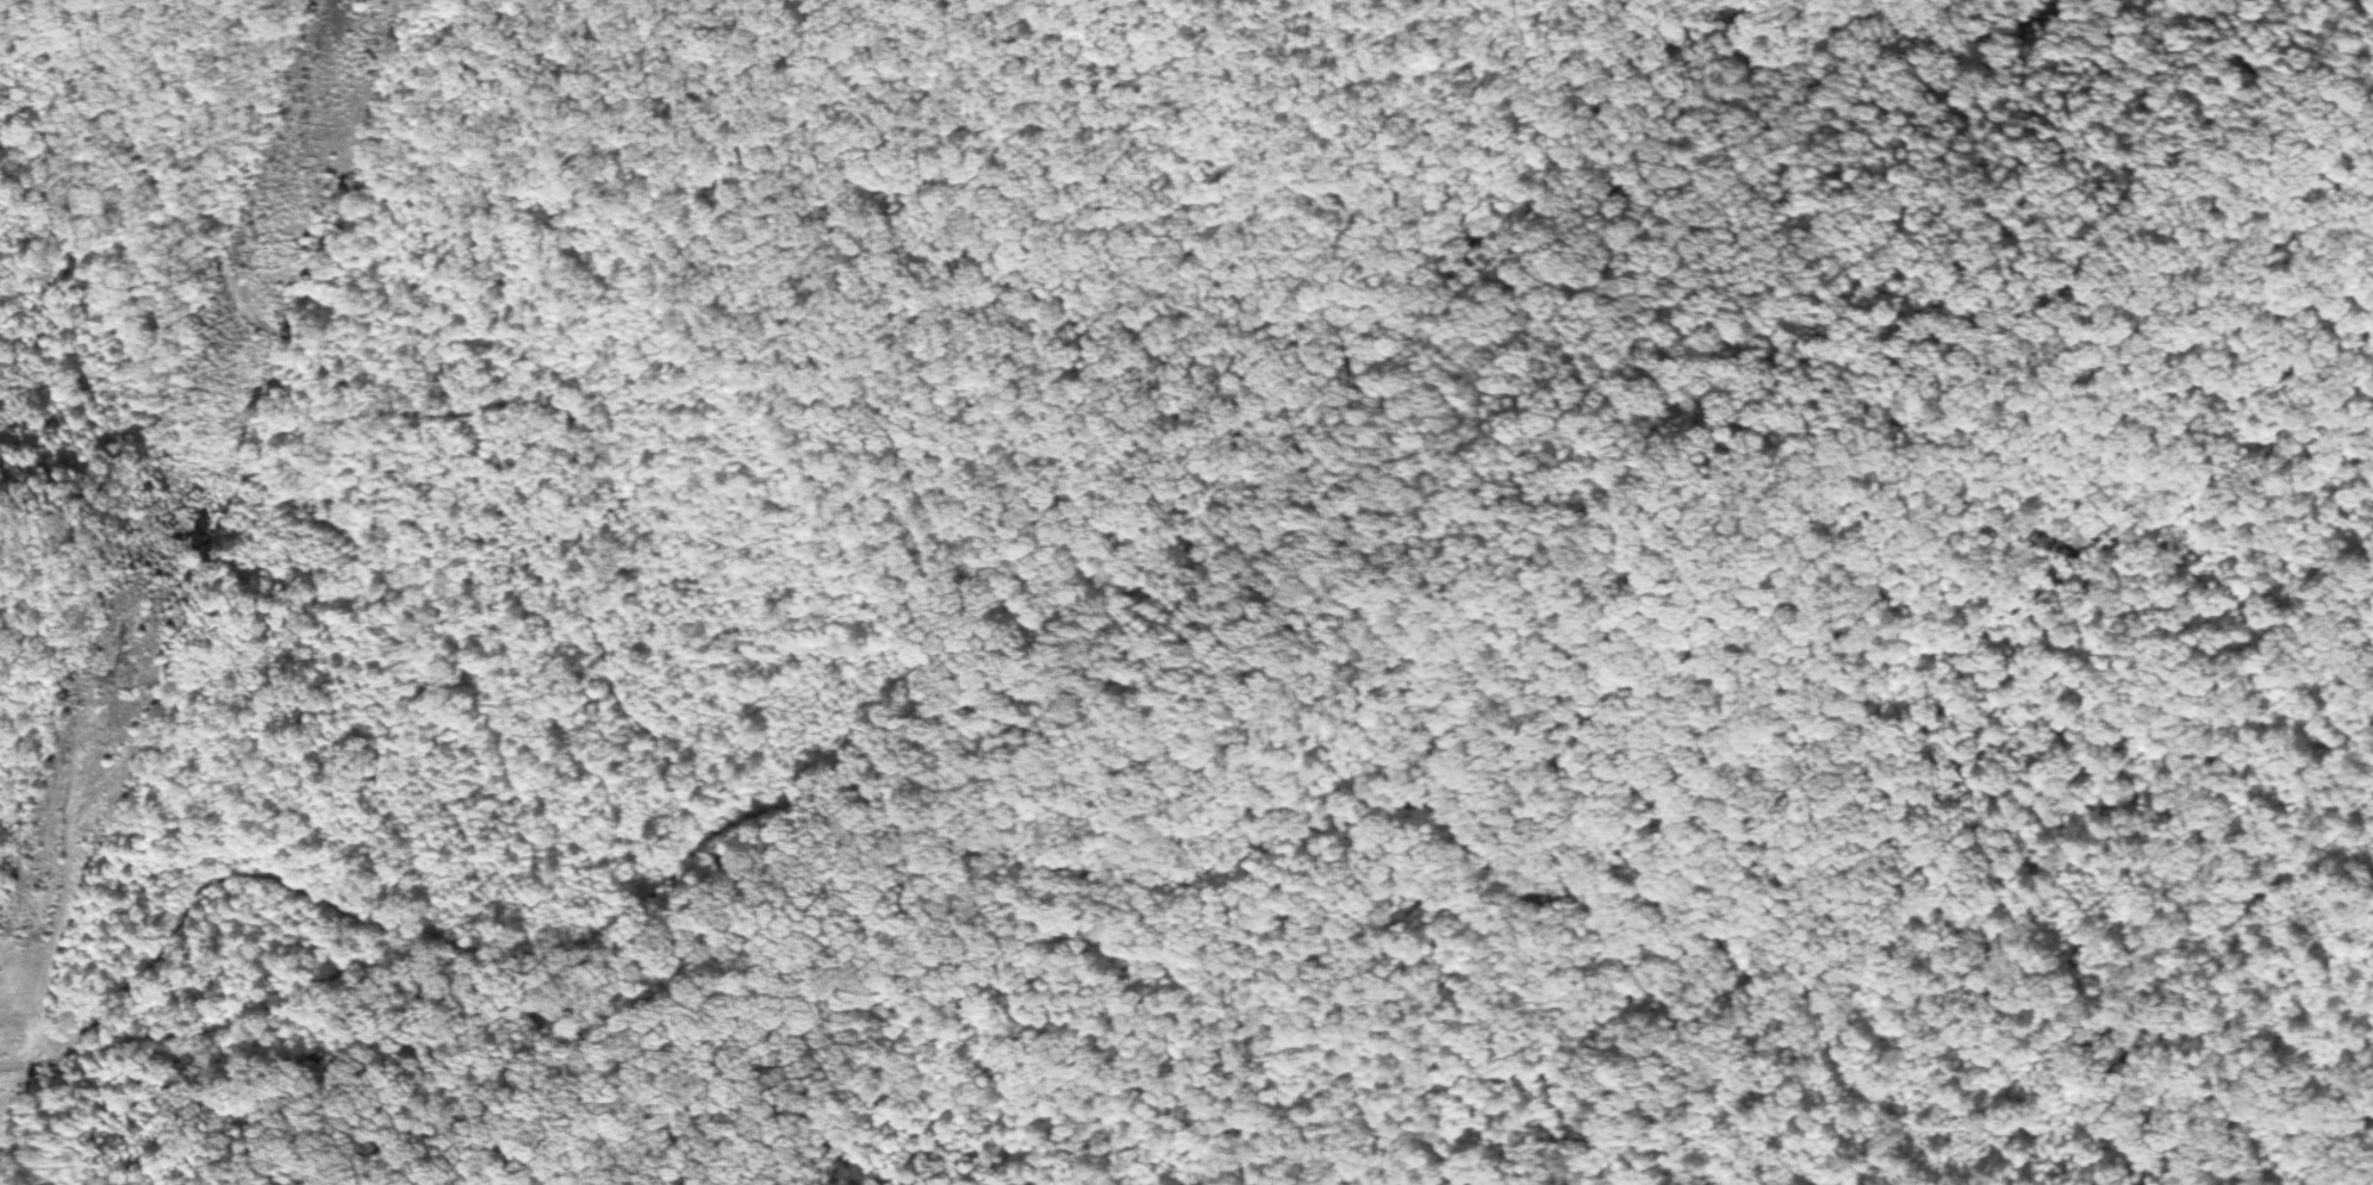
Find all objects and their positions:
power tower: (126, 679)
road: (997, 853)
road: (1496, 1078)

